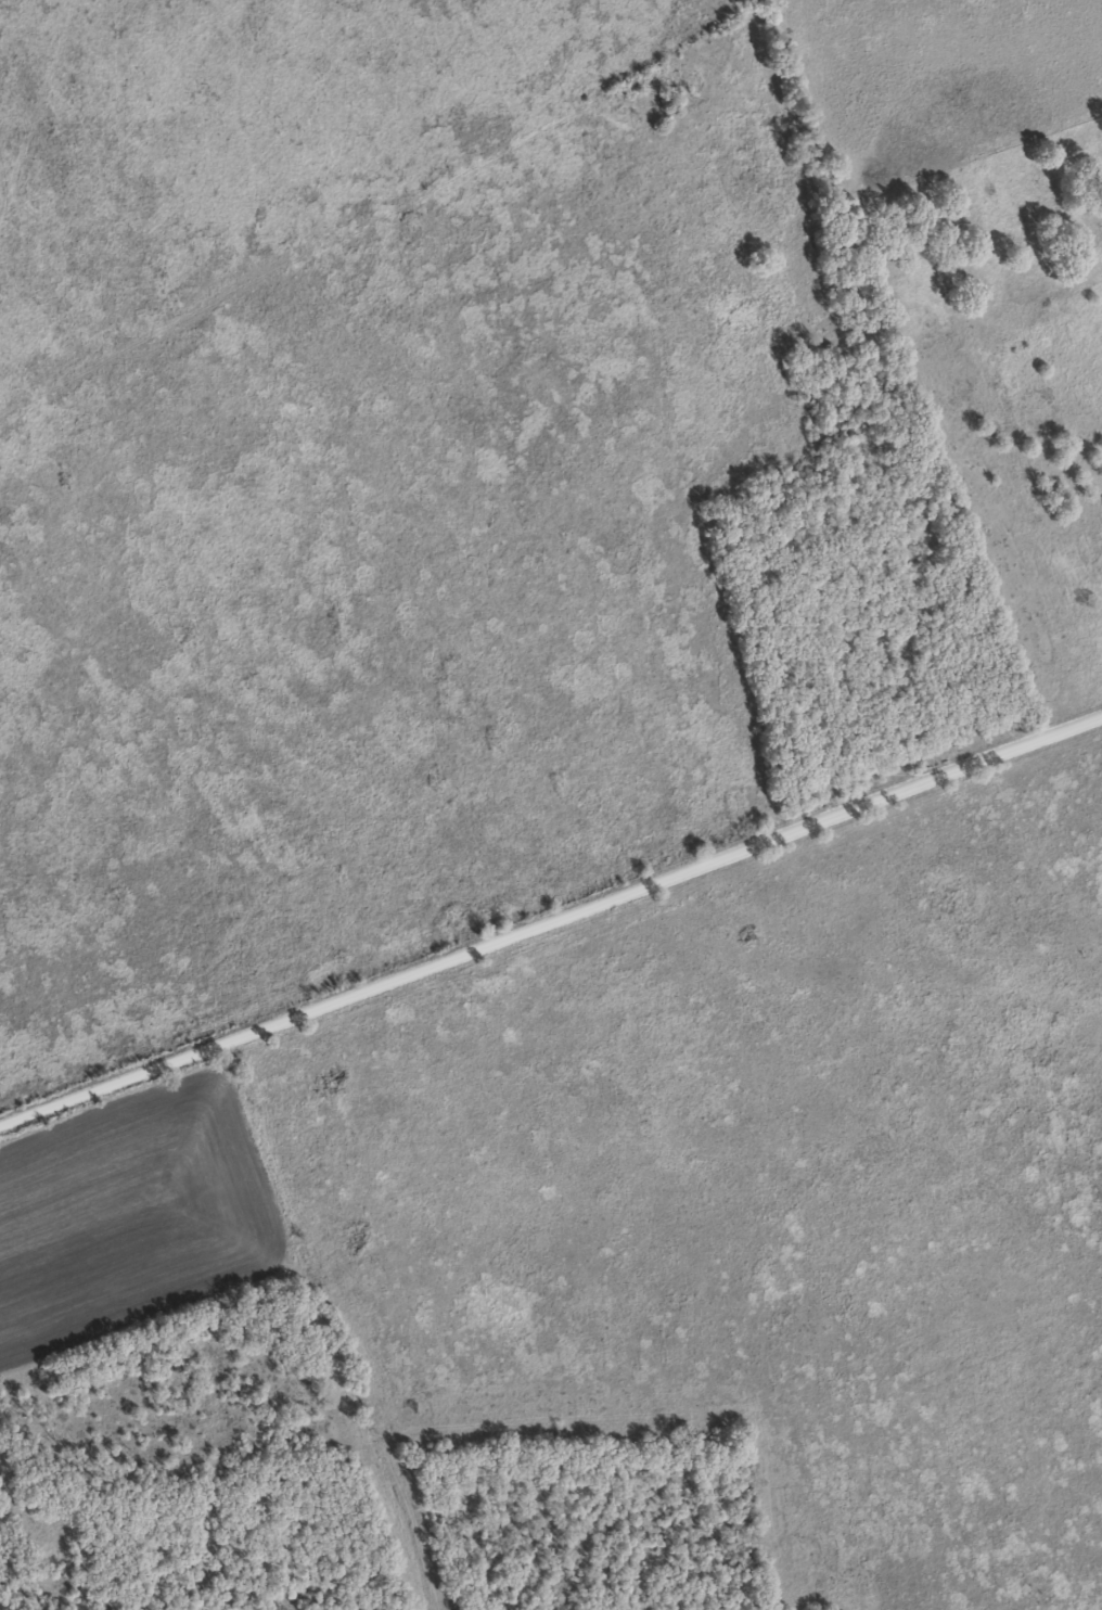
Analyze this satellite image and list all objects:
road: (551, 916)

